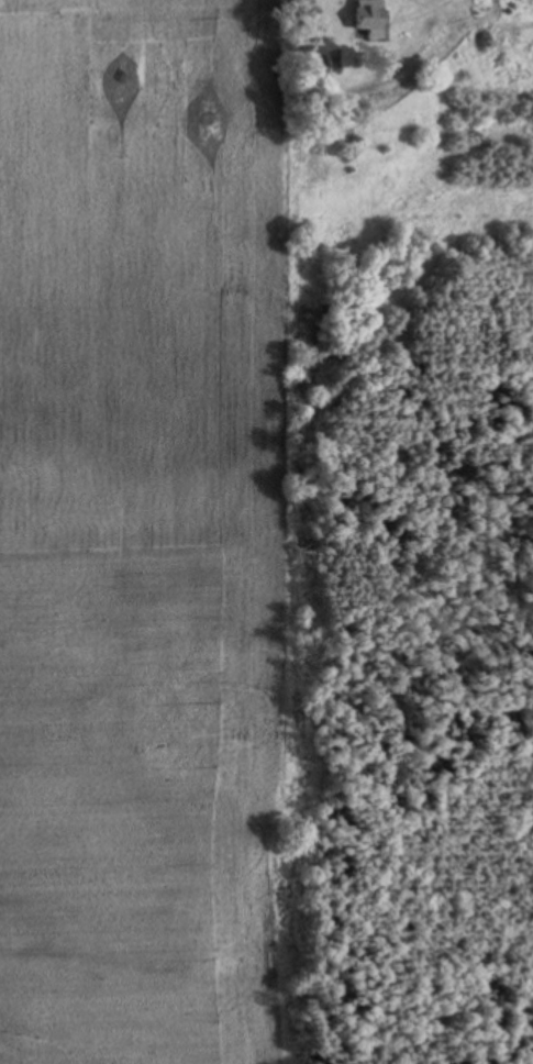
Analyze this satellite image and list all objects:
building: (366, 16)

